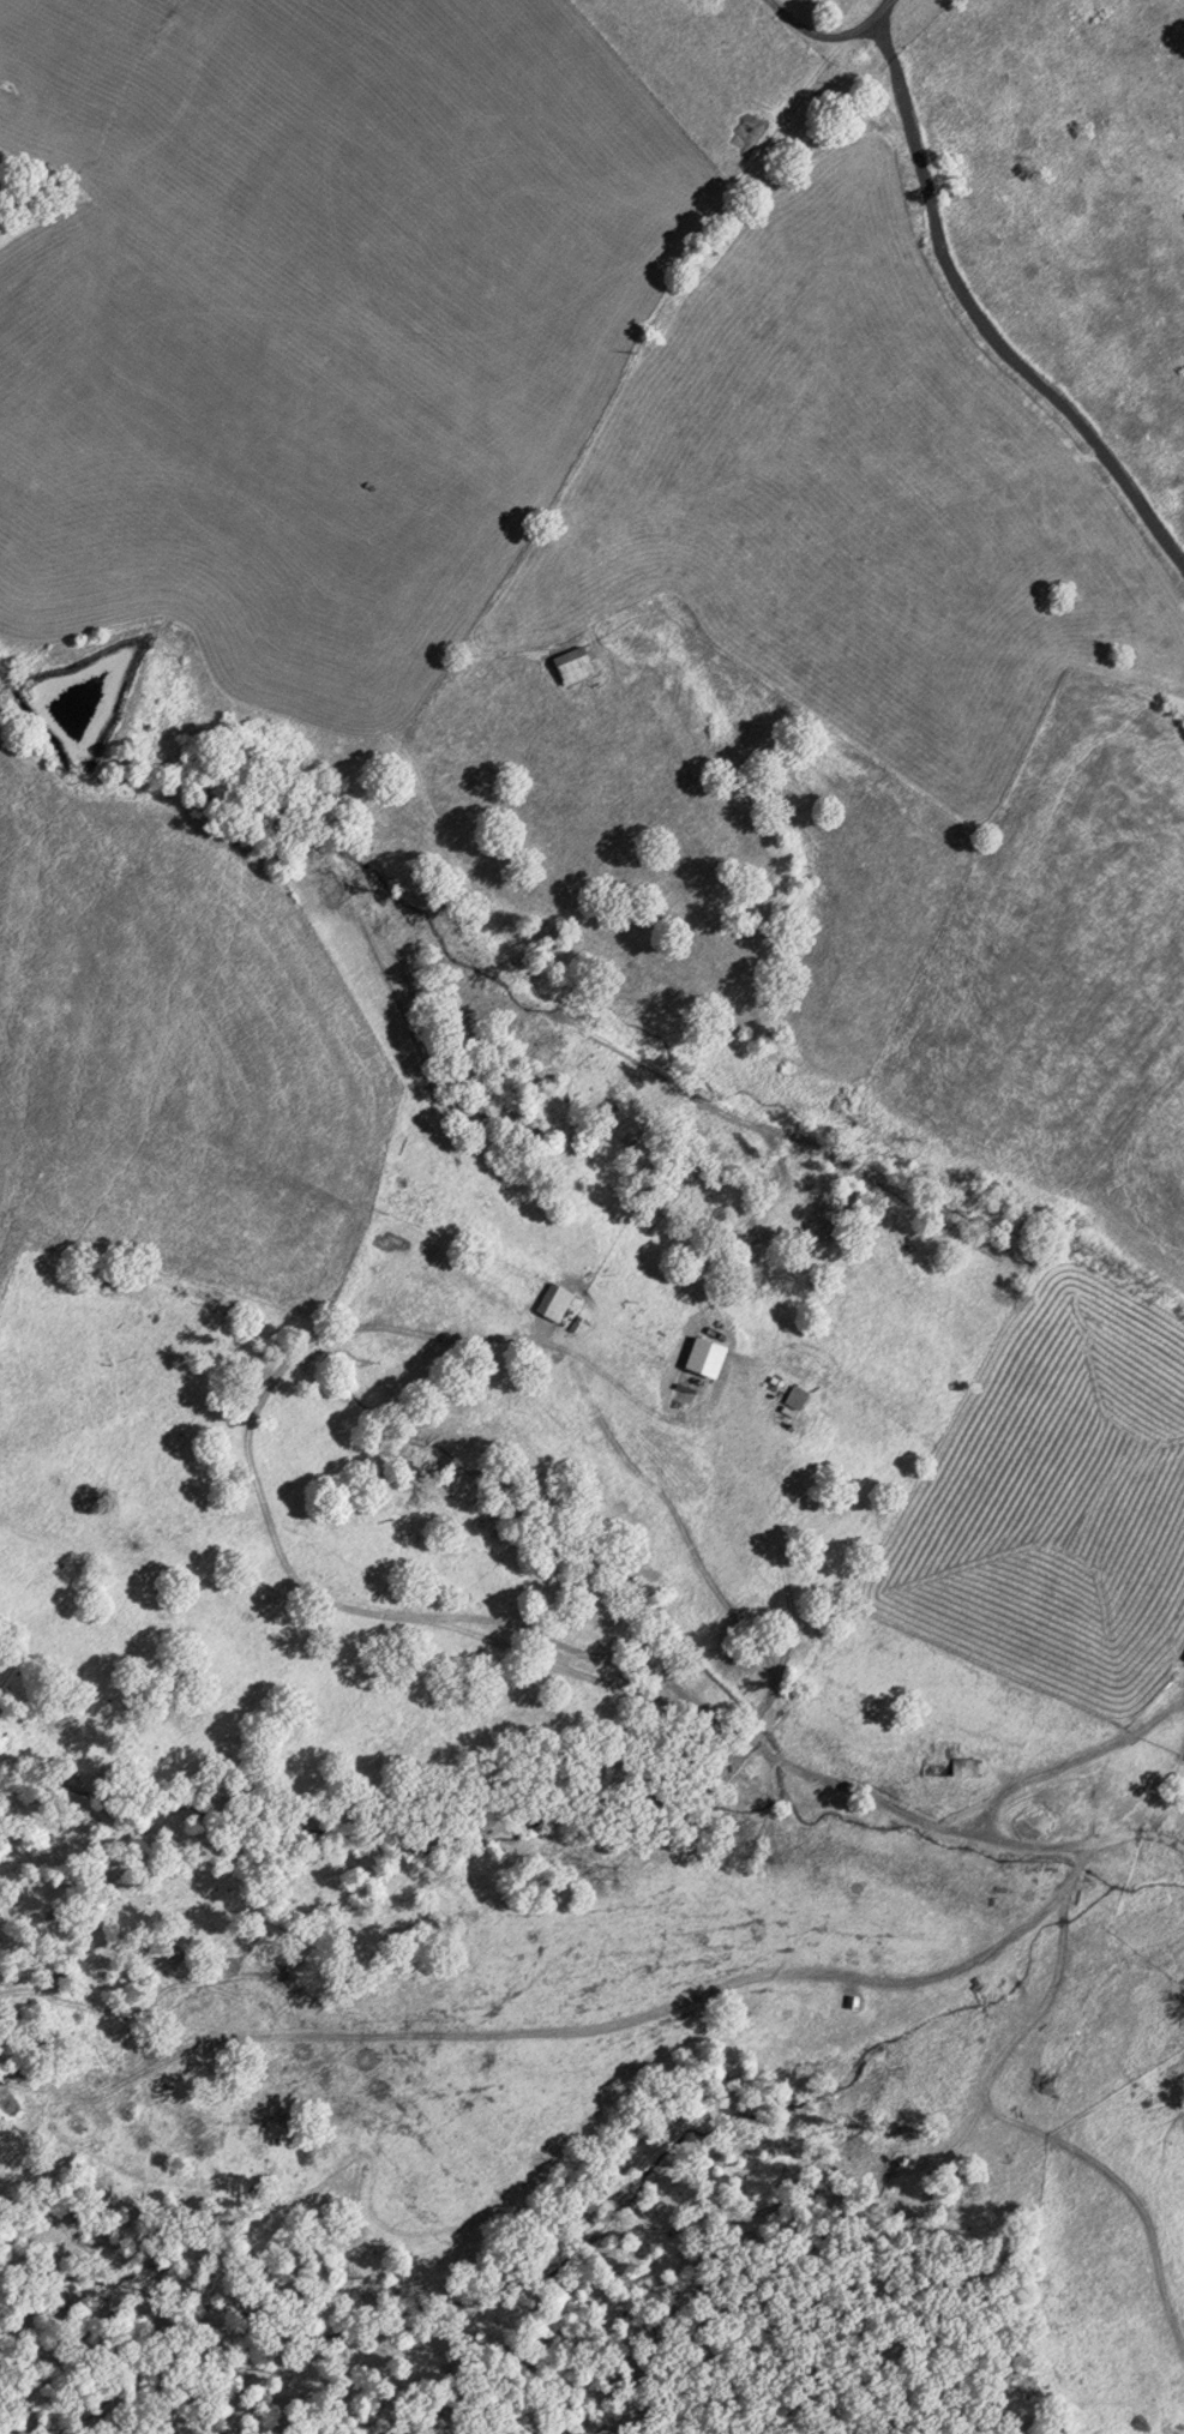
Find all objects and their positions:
road: (824, 30)
building: (581, 665)
building: (560, 1302)
building: (801, 1398)
building: (1183, 1658)
building: (955, 1765)

